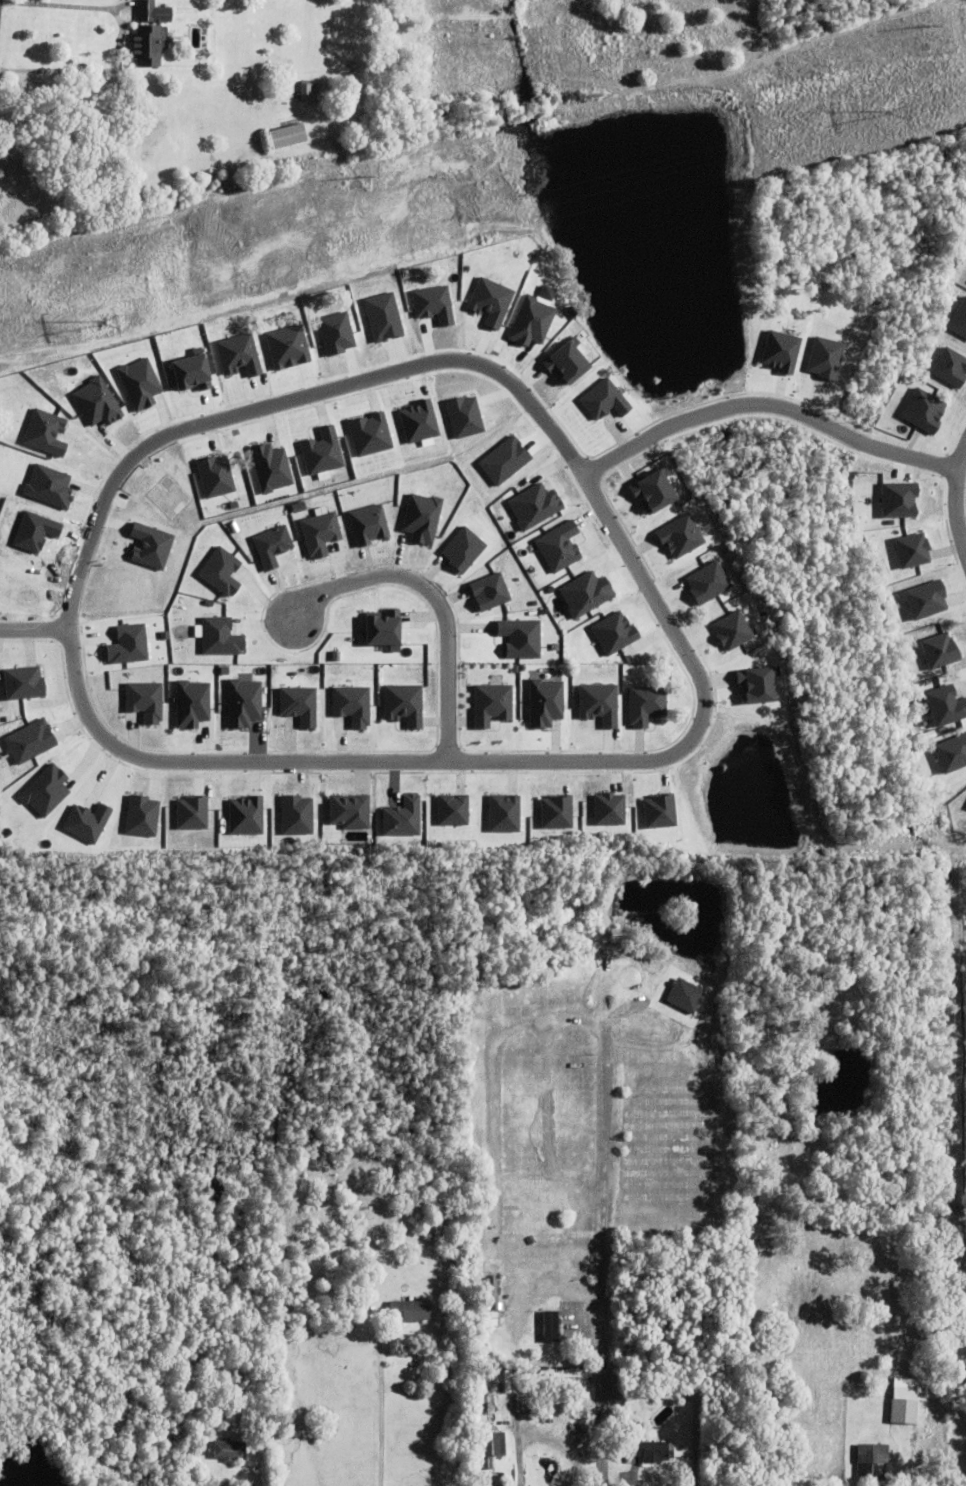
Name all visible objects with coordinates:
road: (63, 11)
building: (152, 12)
building: (146, 44)
road: (87, 74)
building: (307, 91)
power tower: (887, 111)
building: (289, 135)
building: (960, 319)
power tower: (100, 321)
building: (782, 351)
building: (951, 367)
building: (606, 400)
road: (765, 404)
building: (925, 410)
building: (656, 489)
road: (952, 498)
building: (901, 499)
building: (537, 505)
building: (422, 517)
building: (369, 524)
building: (321, 533)
building: (682, 536)
building: (273, 545)
building: (560, 546)
building: (464, 548)
building: (914, 549)
building: (222, 571)
building: (709, 582)
building: (491, 591)
building: (588, 593)
building: (927, 598)
road: (434, 600)
building: (385, 628)
building: (733, 630)
road: (35, 631)
building: (616, 633)
building: (219, 636)
building: (521, 637)
building: (129, 644)
building: (941, 650)
building: (24, 682)
building: (759, 684)
building: (145, 700)
building: (244, 702)
building: (546, 702)
building: (192, 703)
building: (493, 703)
building: (600, 703)
building: (300, 704)
building: (405, 704)
building: (353, 705)
building: (647, 705)
building: (946, 705)
building: (952, 753)
road: (153, 762)
building: (47, 790)
building: (453, 809)
building: (610, 809)
building: (350, 811)
building: (661, 811)
building: (192, 812)
building: (557, 812)
building: (505, 813)
building: (246, 815)
building: (297, 815)
building: (143, 816)
building: (403, 817)
building: (87, 822)
building: (526, 1190)
building: (535, 1208)
building: (531, 1226)
building: (525, 1245)
building: (453, 1254)
road: (555, 1285)
building: (409, 1312)
building: (550, 1328)
building: (496, 1331)
building: (492, 1404)
building: (903, 1407)
road: (378, 1412)
building: (484, 1419)
building: (240, 1420)
building: (492, 1449)
building: (228, 1452)
building: (652, 1452)
building: (872, 1464)
building: (482, 1479)
building: (510, 1481)
road: (631, 1481)

